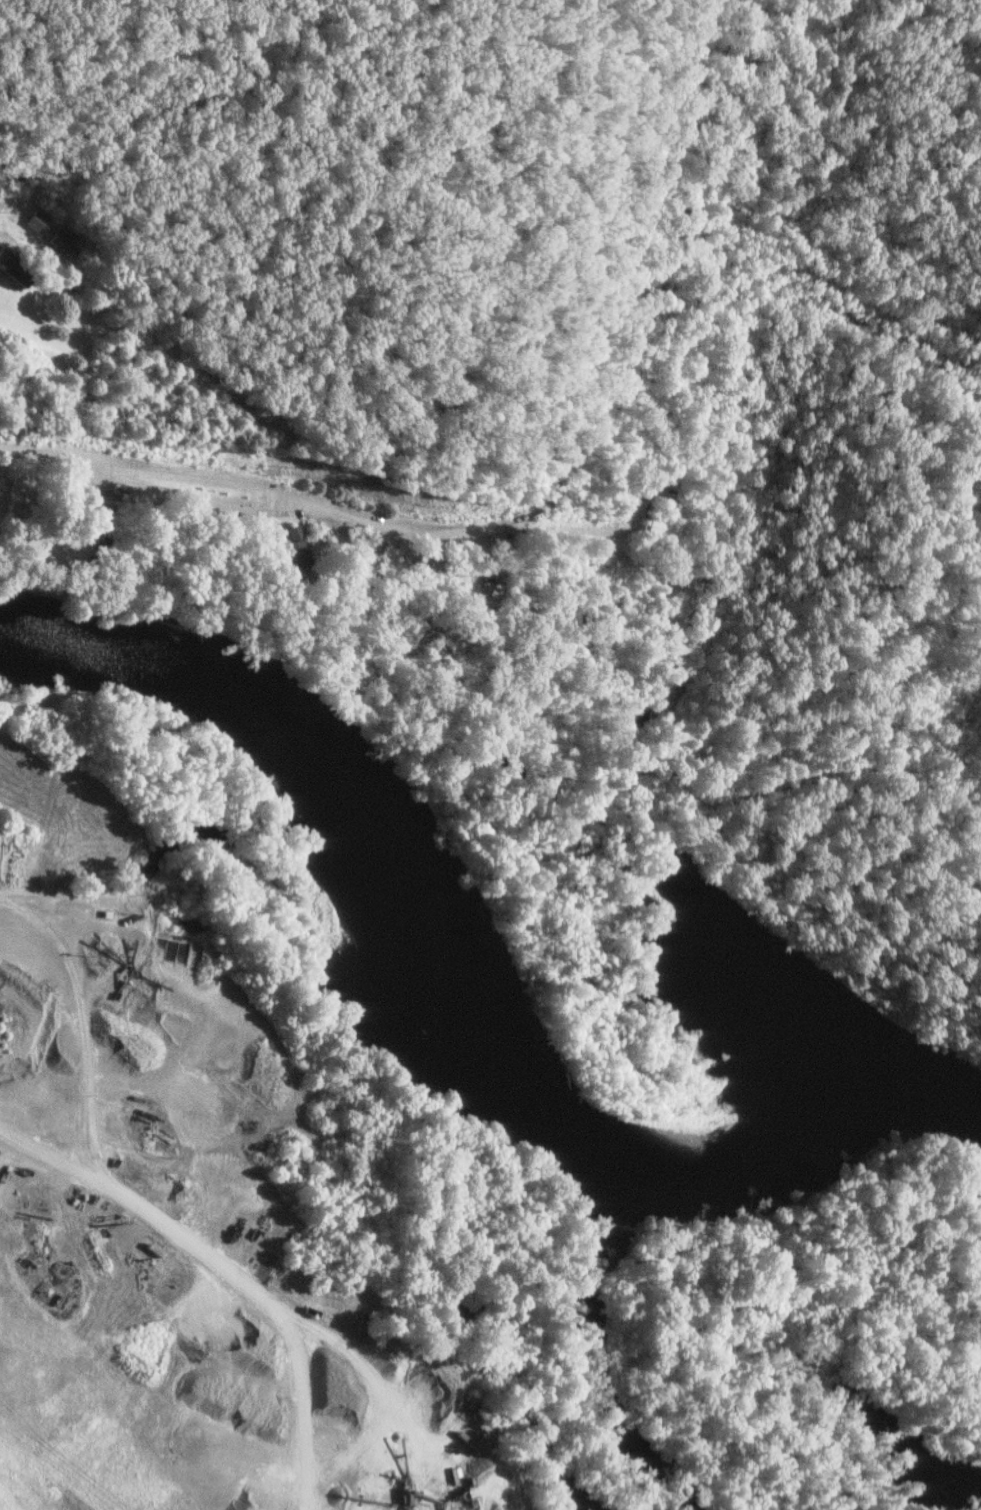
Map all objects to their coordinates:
building: (39, 223)
building: (59, 245)
building: (15, 268)
road: (312, 500)
building: (659, 526)
building: (296, 549)
building: (484, 596)
river: (450, 993)

